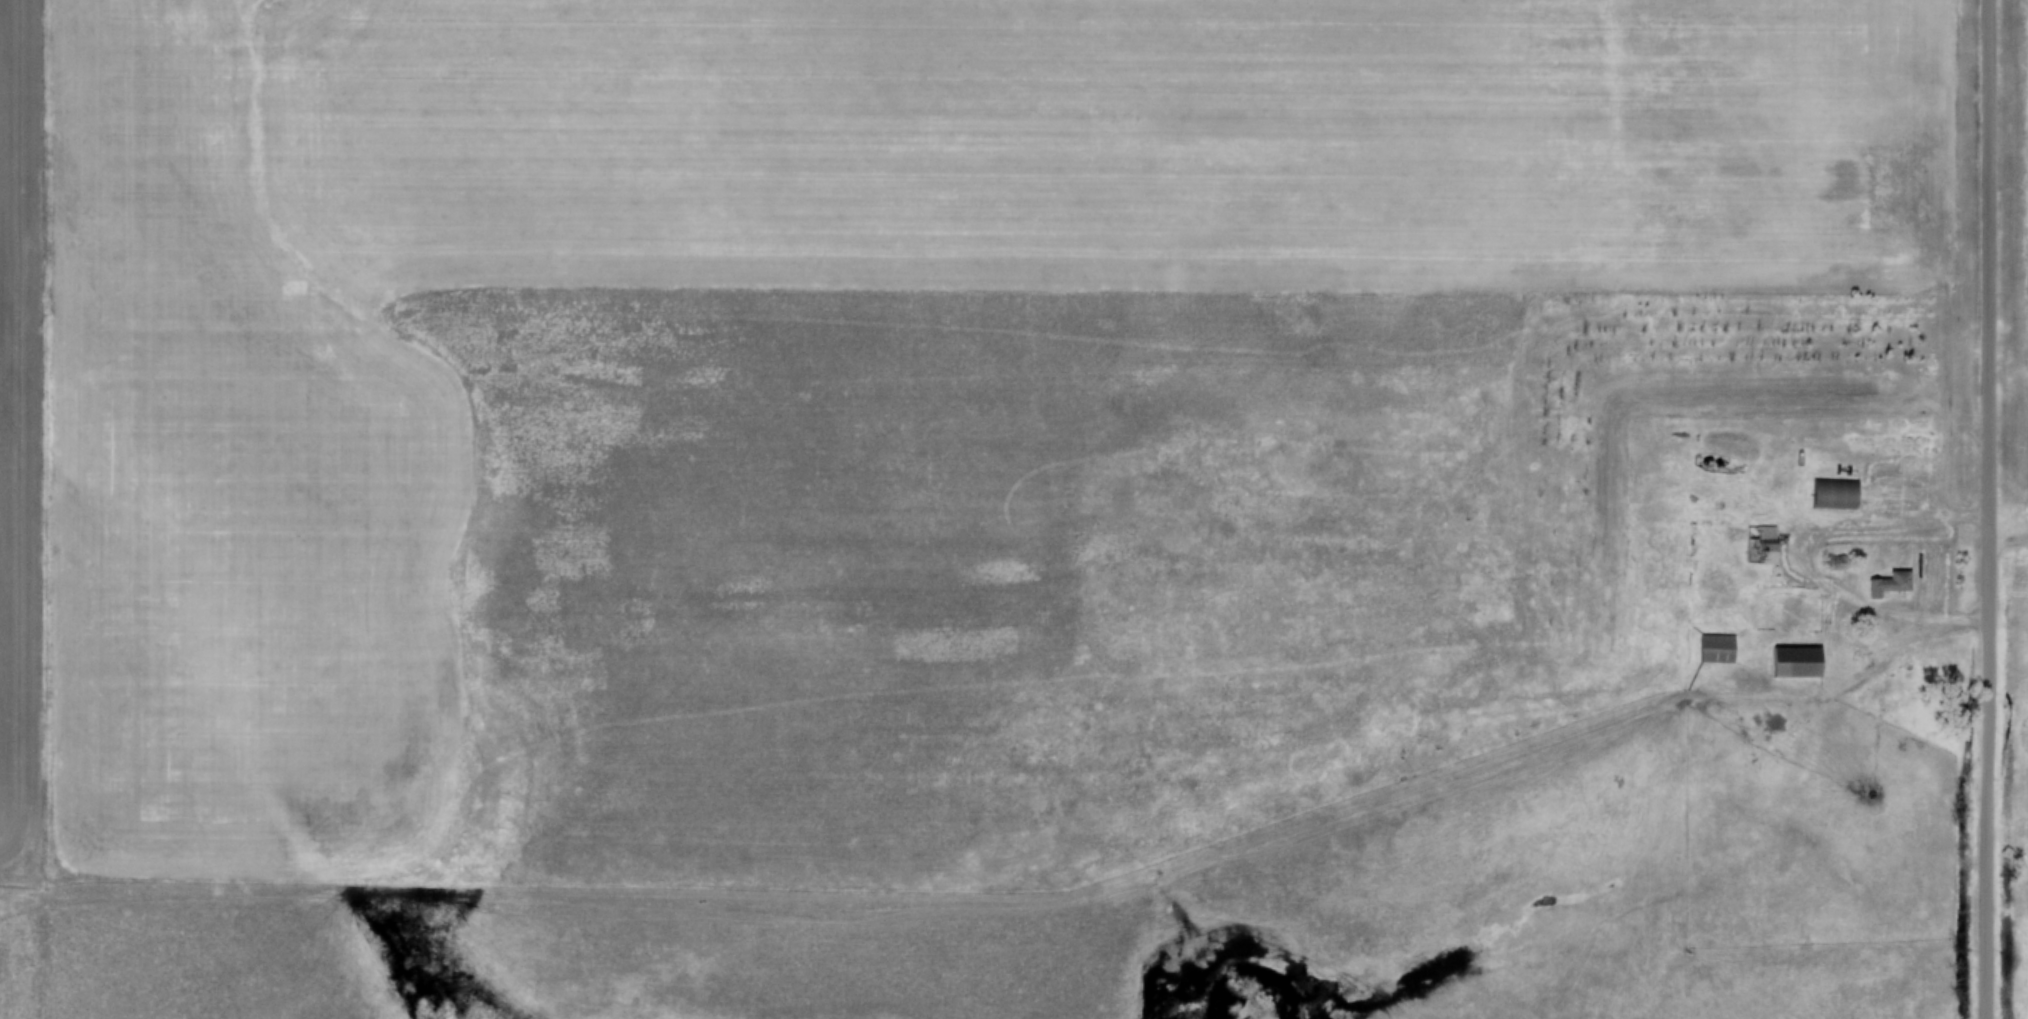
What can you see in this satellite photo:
road: (1991, 509)
road: (1813, 564)
building: (1713, 650)
building: (1790, 664)

